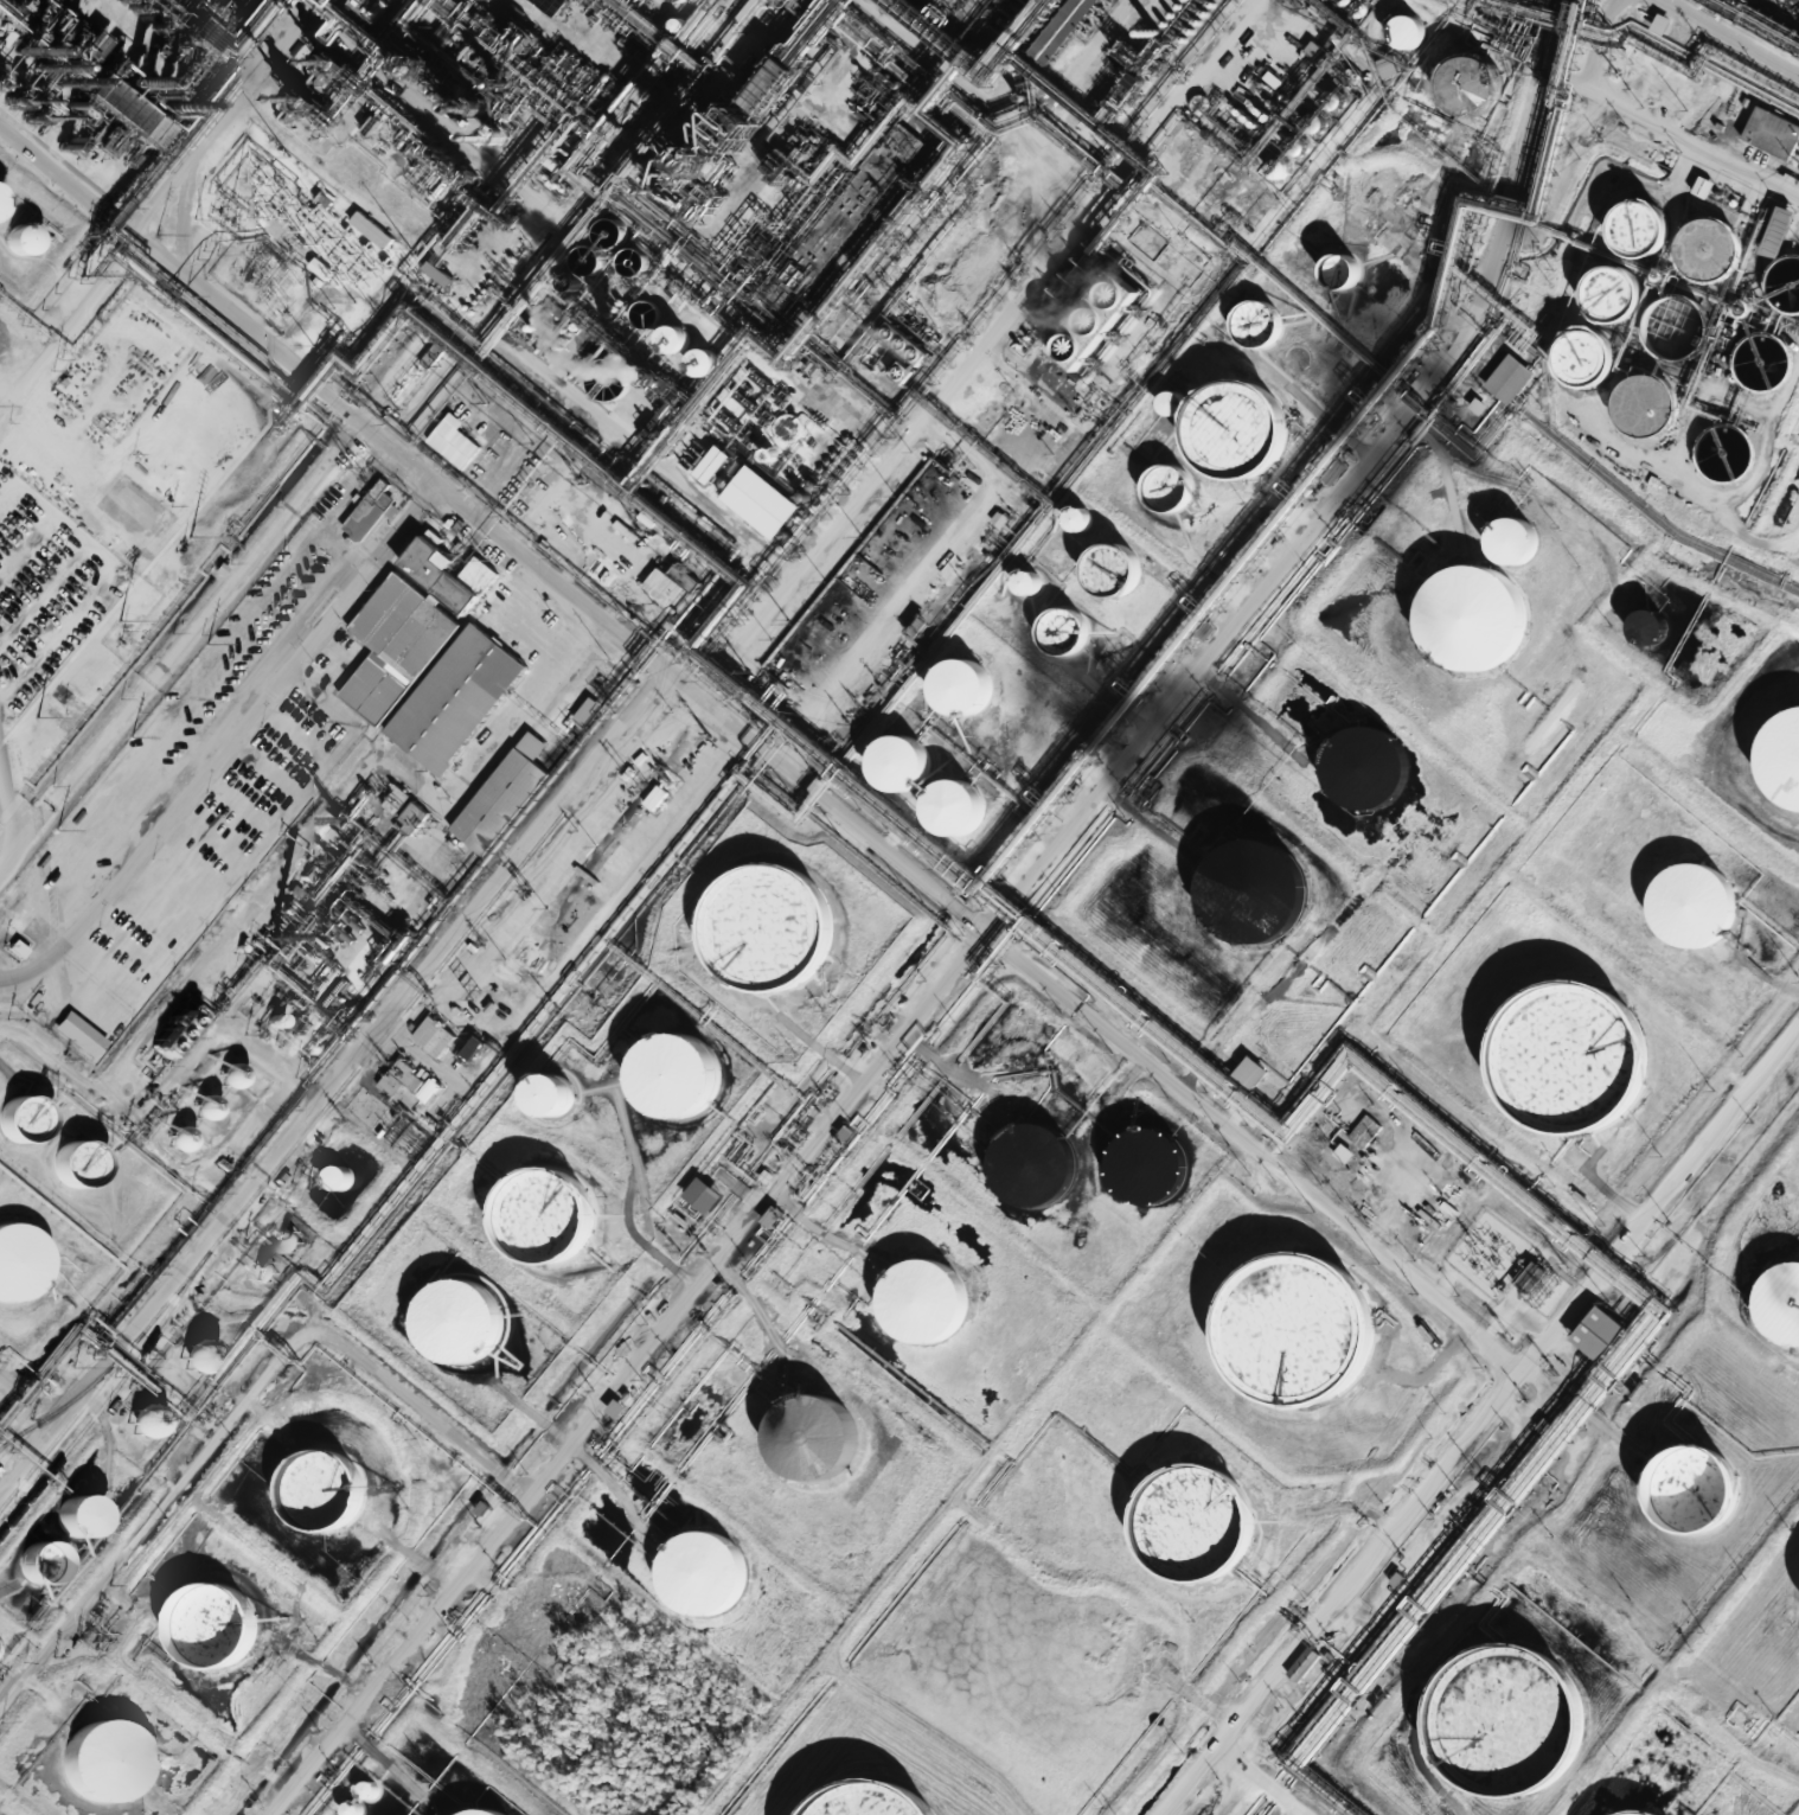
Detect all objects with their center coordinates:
building: (1660, 23)
building: (1056, 28)
building: (1395, 32)
road: (1734, 34)
road: (1595, 41)
building: (1314, 50)
building: (1453, 85)
building: (1324, 101)
building: (1306, 122)
building: (1317, 122)
road: (1677, 130)
building: (1767, 133)
building: (1286, 147)
building: (1300, 147)
building: (1279, 167)
building: (1268, 170)
building: (1699, 187)
building: (369, 223)
building: (1233, 223)
building: (1625, 229)
power substation: (289, 232)
building: (610, 232)
building: (1771, 232)
building: (13, 238)
building: (1698, 250)
building: (318, 260)
building: (635, 261)
building: (322, 268)
building: (435, 270)
building: (1334, 271)
building: (965, 273)
building: (1781, 285)
building: (1600, 294)
building: (1735, 309)
building: (1100, 319)
road: (75, 320)
building: (1077, 321)
building: (1248, 324)
building: (1667, 328)
building: (664, 340)
building: (896, 344)
building: (1573, 358)
building: (1755, 363)
building: (694, 364)
building: (1505, 379)
building: (616, 384)
building: (1171, 402)
building: (1160, 403)
building: (1478, 405)
building: (1635, 407)
building: (787, 428)
building: (1218, 432)
building: (452, 441)
building: (692, 454)
building: (1717, 454)
building: (738, 475)
building: (1157, 488)
building: (365, 512)
building: (1078, 517)
building: (1065, 520)
building: (777, 522)
building: (1498, 543)
building: (603, 568)
building: (1096, 571)
building: (684, 576)
building: (430, 577)
building: (1029, 581)
building: (1014, 584)
building: (1455, 620)
storage tank: (1455, 620)
building: (1648, 627)
building: (1633, 630)
building: (1051, 633)
road: (185, 640)
building: (391, 647)
building: (943, 690)
building: (449, 701)
building: (588, 710)
road: (231, 741)
road: (756, 743)
building: (1774, 761)
storage tank: (1774, 761)
building: (884, 766)
building: (1353, 769)
storage tank: (1353, 769)
building: (396, 799)
building: (494, 803)
building: (937, 810)
building: (415, 816)
building: (1237, 893)
storage tank: (1237, 893)
building: (1698, 902)
storage tank: (1698, 902)
road: (972, 940)
building: (768, 942)
building: (15, 948)
railway: (436, 970)
building: (275, 1020)
building: (156, 1036)
building: (435, 1036)
building: (474, 1047)
building: (1575, 1054)
storage tank: (1575, 1054)
building: (1251, 1072)
building: (680, 1073)
storage tank: (680, 1073)
building: (232, 1075)
road: (327, 1076)
building: (401, 1078)
building: (429, 1089)
building: (555, 1092)
building: (206, 1106)
building: (17, 1121)
building: (1364, 1132)
building: (180, 1138)
building: (1344, 1153)
building: (1036, 1164)
building: (1148, 1164)
building: (69, 1167)
building: (340, 1176)
building: (1442, 1180)
building: (1427, 1184)
building: (706, 1195)
building: (548, 1214)
storage tank: (548, 1214)
building: (1429, 1214)
building: (290, 1239)
building: (15, 1260)
building: (267, 1270)
building: (1530, 1277)
building: (927, 1299)
storage tank: (927, 1299)
building: (1784, 1302)
building: (461, 1319)
storage tank: (461, 1319)
building: (1301, 1327)
storage tank: (1301, 1327)
building: (1601, 1333)
building: (198, 1355)
railway: (69, 1402)
building: (616, 1407)
building: (145, 1420)
road: (1477, 1420)
building: (818, 1436)
storage tank: (818, 1436)
building: (1701, 1487)
building: (325, 1490)
storage tank: (325, 1490)
building: (79, 1515)
building: (1198, 1522)
storage tank: (1198, 1522)
building: (41, 1562)
building: (706, 1572)
storage tank: (706, 1572)
building: (215, 1625)
storage tank: (215, 1625)
building: (1304, 1662)
building: (1512, 1719)
building: (104, 1763)
storage tank: (104, 1763)
road: (1272, 1772)
building: (370, 1790)
building: (875, 1801)
storage tank: (875, 1801)
building: (353, 1809)
building: (485, 1813)
storage tank: (485, 1813)
building: (1643, 1813)

